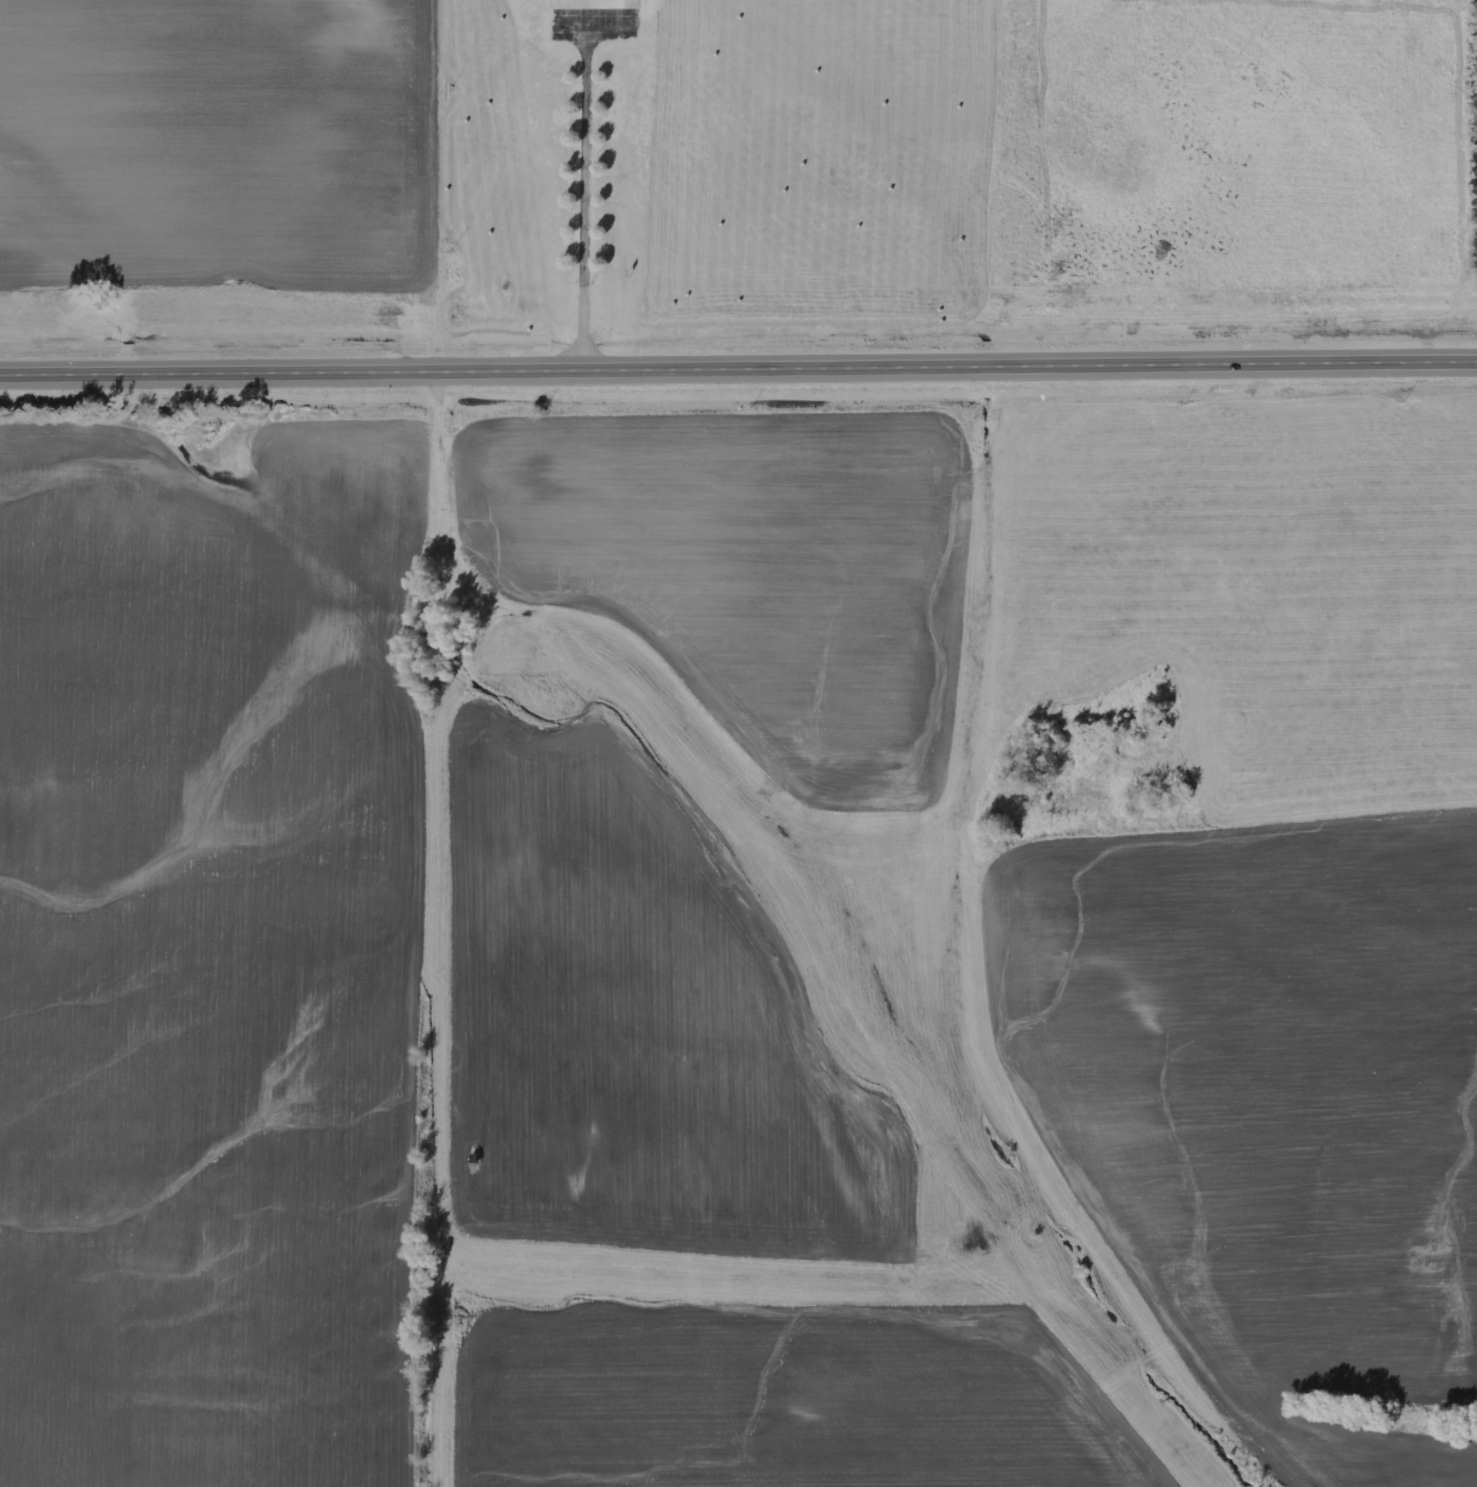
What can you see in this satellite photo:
road: (738, 364)

